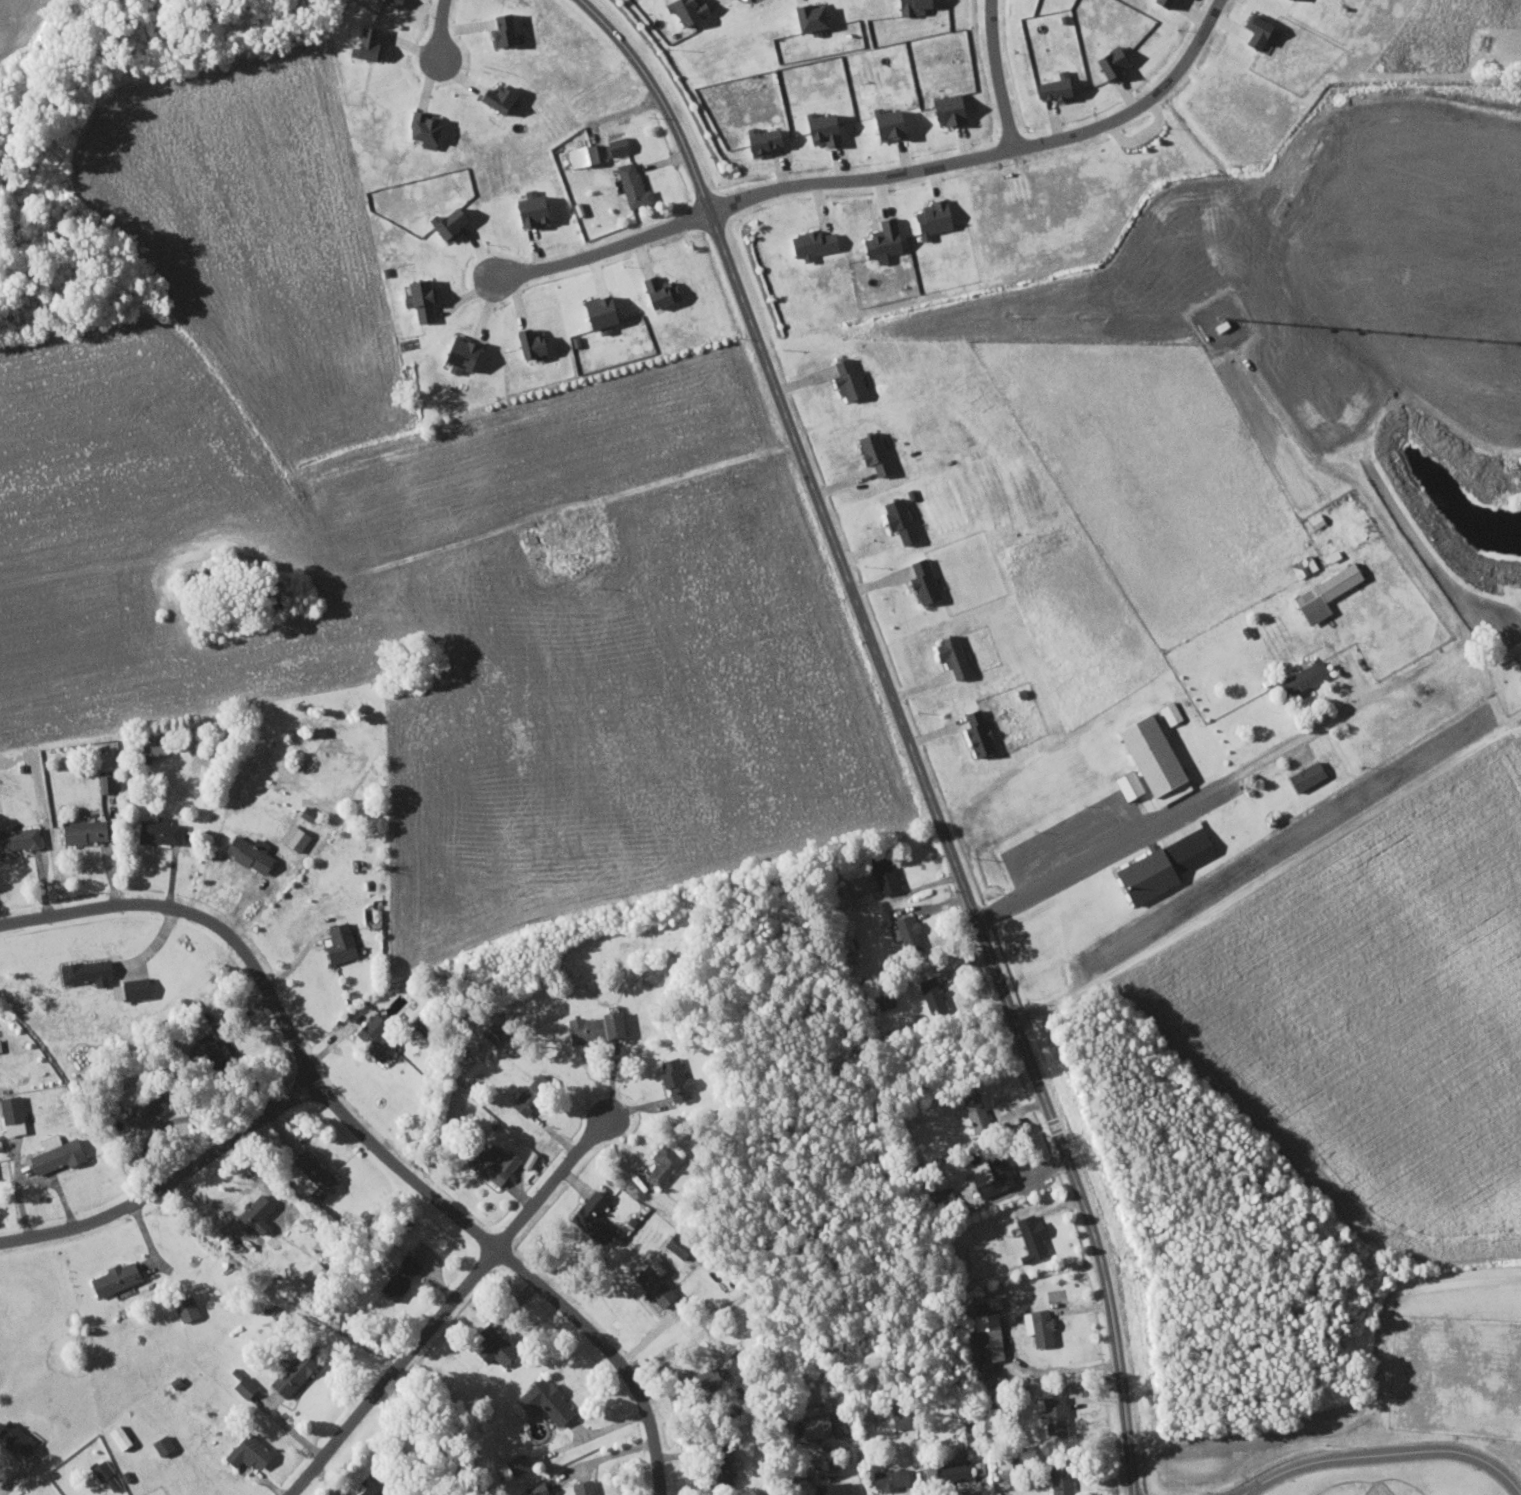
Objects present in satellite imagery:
building: (389, 2)
building: (1159, 3)
building: (910, 6)
building: (686, 10)
building: (805, 16)
building: (502, 29)
road: (433, 30)
building: (1255, 32)
building: (364, 45)
building: (1109, 62)
road: (998, 75)
building: (1053, 87)
building: (494, 97)
building: (947, 110)
building: (886, 124)
building: (423, 128)
building: (820, 129)
building: (759, 141)
building: (588, 153)
road: (993, 153)
building: (632, 185)
building: (529, 210)
building: (932, 218)
building: (446, 223)
building: (881, 240)
building: (810, 243)
road: (601, 252)
building: (657, 291)
building: (419, 297)
building: (597, 313)
building: (1219, 326)
building: (527, 344)
building: (457, 355)
building: (846, 380)
building: (871, 452)
road: (560, 513)
building: (897, 517)
building: (1315, 521)
building: (922, 579)
building: (1324, 591)
building: (949, 654)
building: (1519, 666)
building: (1301, 677)
road: (903, 731)
building: (975, 731)
building: (149, 746)
building: (1150, 757)
building: (1305, 774)
building: (105, 781)
building: (1126, 783)
road: (1217, 783)
building: (306, 811)
building: (81, 830)
building: (159, 830)
building: (293, 836)
building: (17, 838)
building: (246, 851)
building: (883, 872)
road: (1269, 878)
road: (83, 904)
building: (906, 931)
building: (338, 942)
building: (84, 970)
building: (129, 987)
building: (930, 993)
building: (592, 1026)
building: (367, 1030)
building: (0, 1046)
building: (204, 1047)
building: (674, 1078)
building: (521, 1101)
building: (974, 1110)
building: (11, 1114)
building: (138, 1116)
building: (53, 1152)
building: (488, 1162)
building: (660, 1163)
building: (313, 1173)
building: (993, 1173)
road: (167, 1180)
road: (429, 1189)
building: (591, 1216)
building: (241, 1221)
building: (1030, 1236)
building: (399, 1276)
building: (113, 1277)
building: (652, 1282)
building: (993, 1301)
road: (448, 1303)
building: (184, 1307)
building: (1036, 1325)
building: (983, 1338)
building: (491, 1344)
building: (291, 1372)
building: (699, 1378)
building: (242, 1385)
building: (542, 1399)
building: (1052, 1413)
building: (895, 1417)
building: (812, 1425)
building: (117, 1436)
building: (13, 1437)
building: (161, 1443)
road: (1379, 1448)
building: (247, 1450)
building: (516, 1463)
building: (717, 1464)
building: (978, 1466)
building: (951, 1470)
building: (105, 1474)
building: (888, 1478)
building: (1059, 1479)
building: (582, 1487)
building: (365, 1488)
building: (833, 1488)
building: (534, 1489)
building: (79, 1494)

